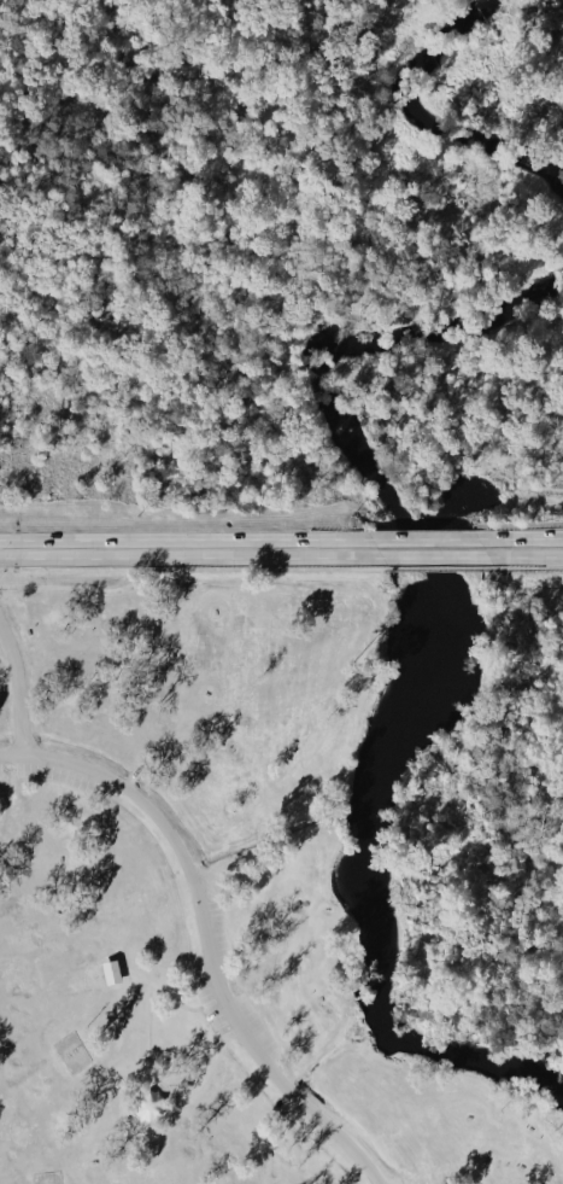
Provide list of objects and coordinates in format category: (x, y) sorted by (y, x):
river: (427, 116)
road: (529, 536)
road: (192, 538)
road: (441, 538)
road: (530, 555)
road: (192, 556)
road: (440, 556)
road: (440, 567)
road: (526, 567)
road: (187, 568)
river: (436, 638)
road: (17, 678)
parking lot: (45, 770)
road: (129, 775)
park: (281, 881)
road: (206, 933)
building: (107, 973)
road: (159, 990)
parking lot: (229, 992)
road: (216, 997)
parking lot: (215, 1021)
parking lot: (221, 1031)
road: (234, 1033)
road: (147, 1034)
road: (198, 1074)
building: (149, 1104)
parking lot: (333, 1149)
parking lot: (395, 1180)

